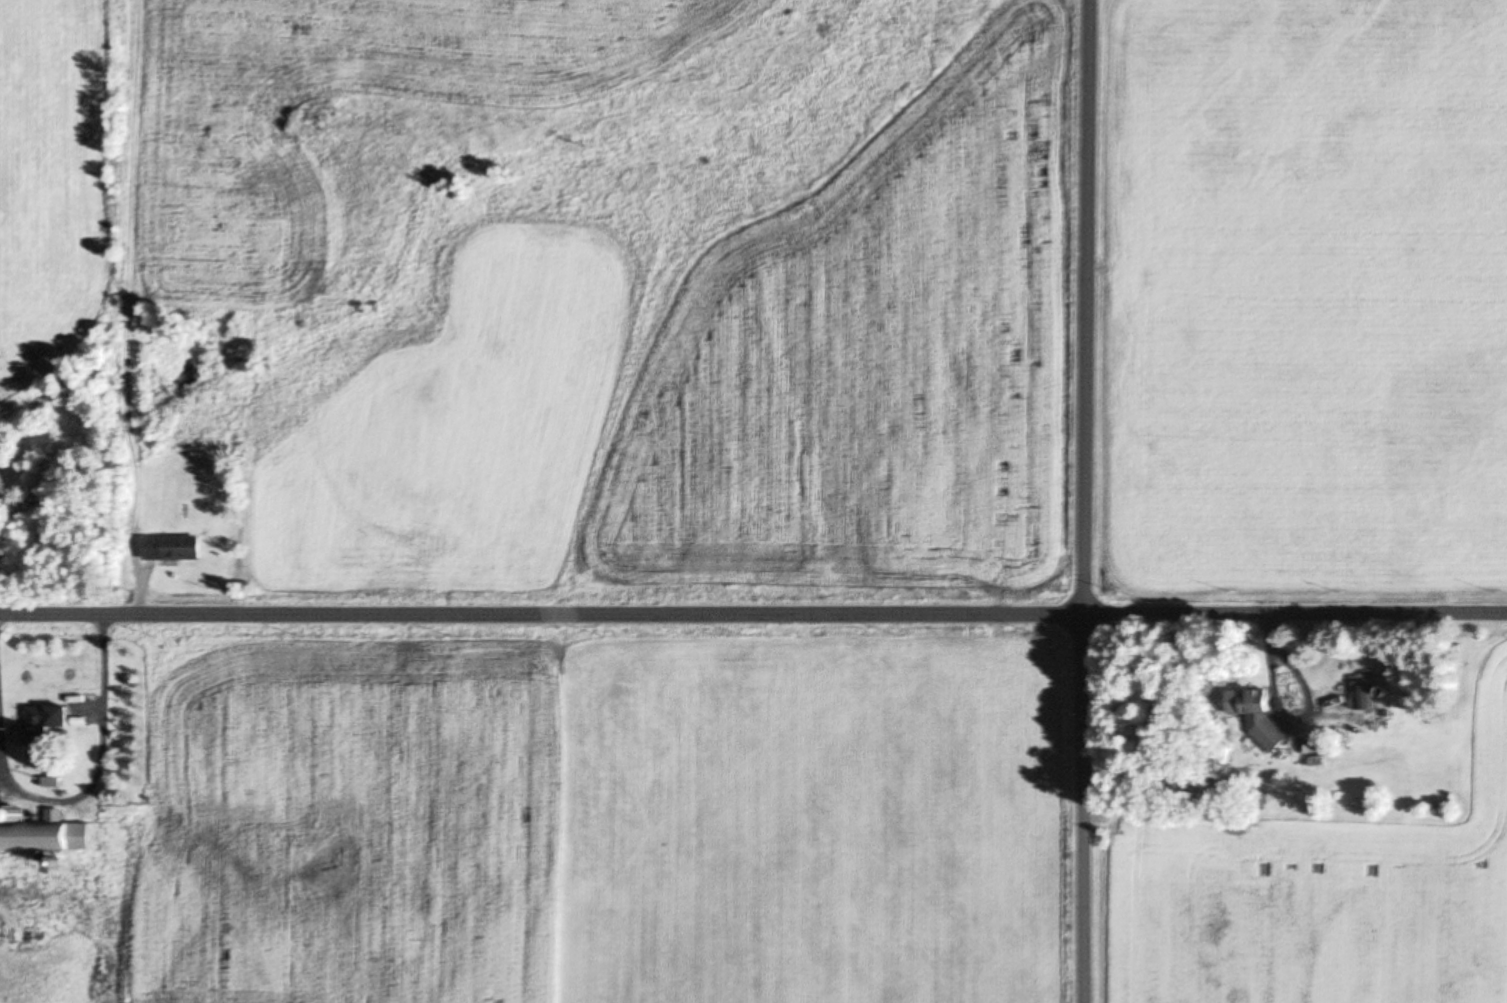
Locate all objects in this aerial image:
road: (1084, 501)
building: (171, 547)
road: (753, 614)
building: (1367, 695)
building: (1259, 715)
building: (46, 718)
building: (42, 836)

